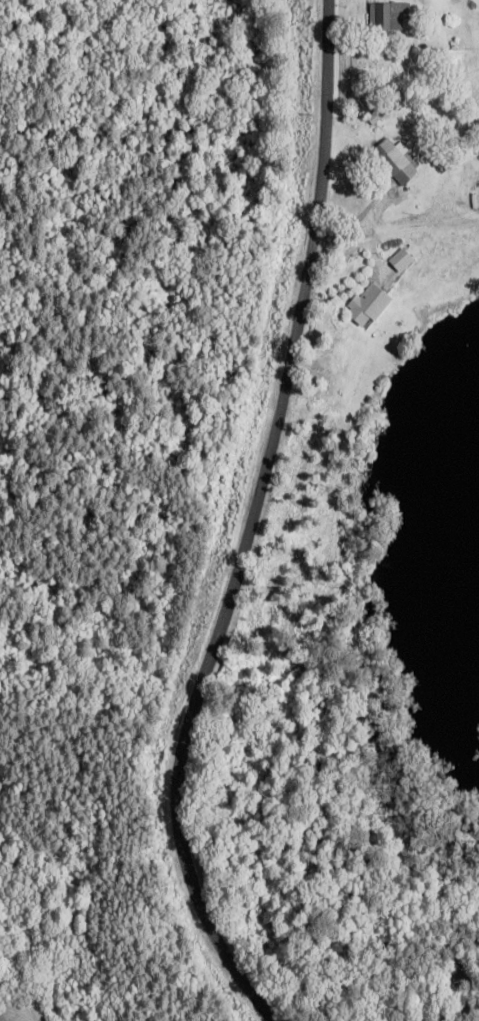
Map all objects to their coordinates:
building: (390, 17)
building: (400, 162)
road: (392, 233)
building: (370, 305)
road: (249, 525)

